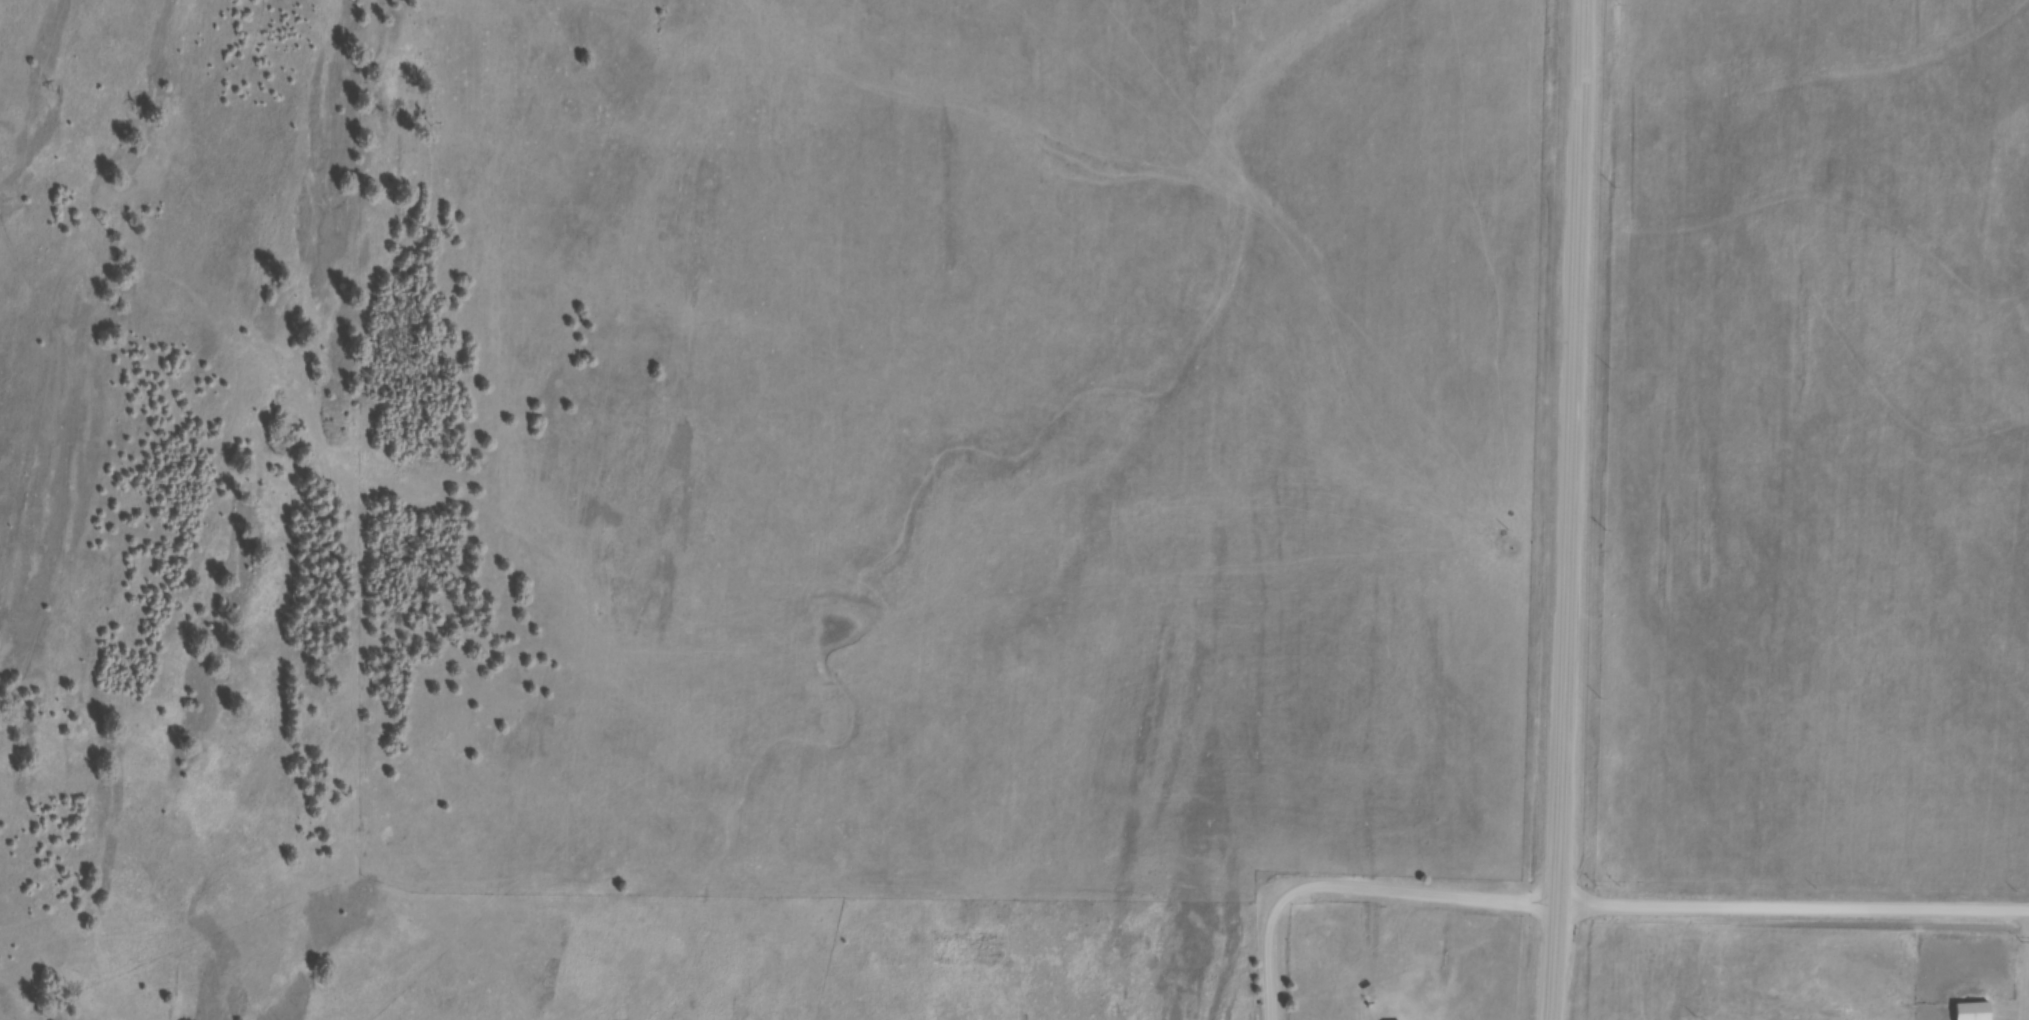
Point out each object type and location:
road: (1568, 453)
road: (1590, 908)
road: (1552, 964)
building: (1979, 1013)

